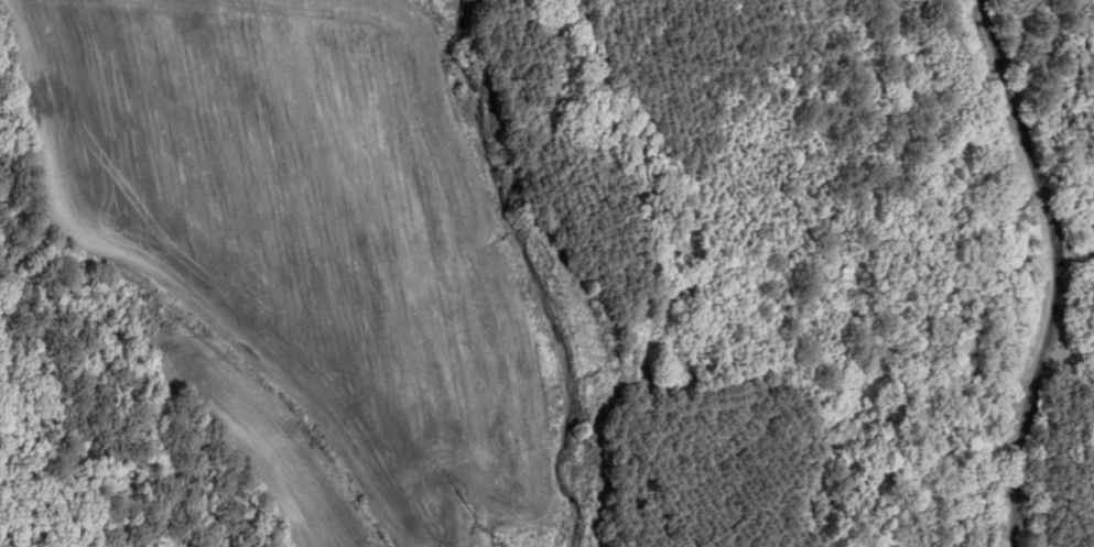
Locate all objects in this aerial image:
road: (1079, 273)
road: (1088, 330)

